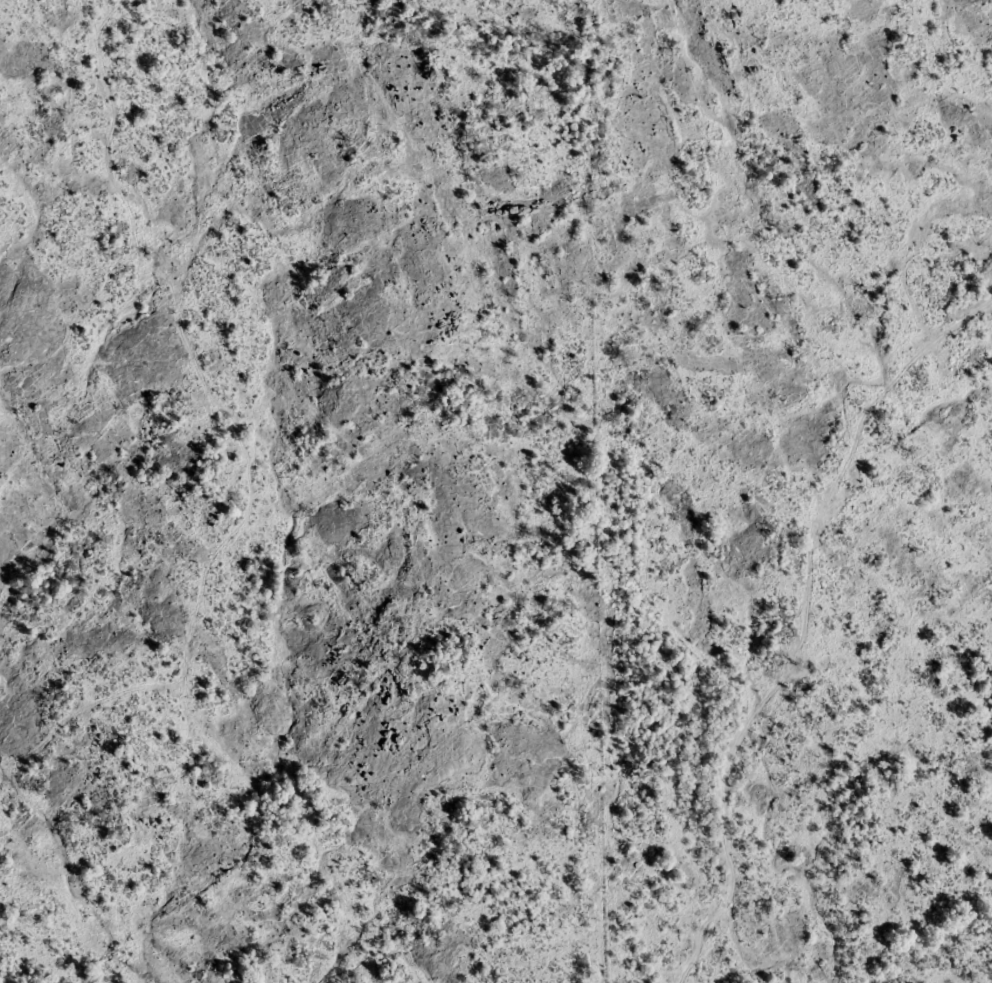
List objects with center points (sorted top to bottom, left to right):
road: (803, 623)

